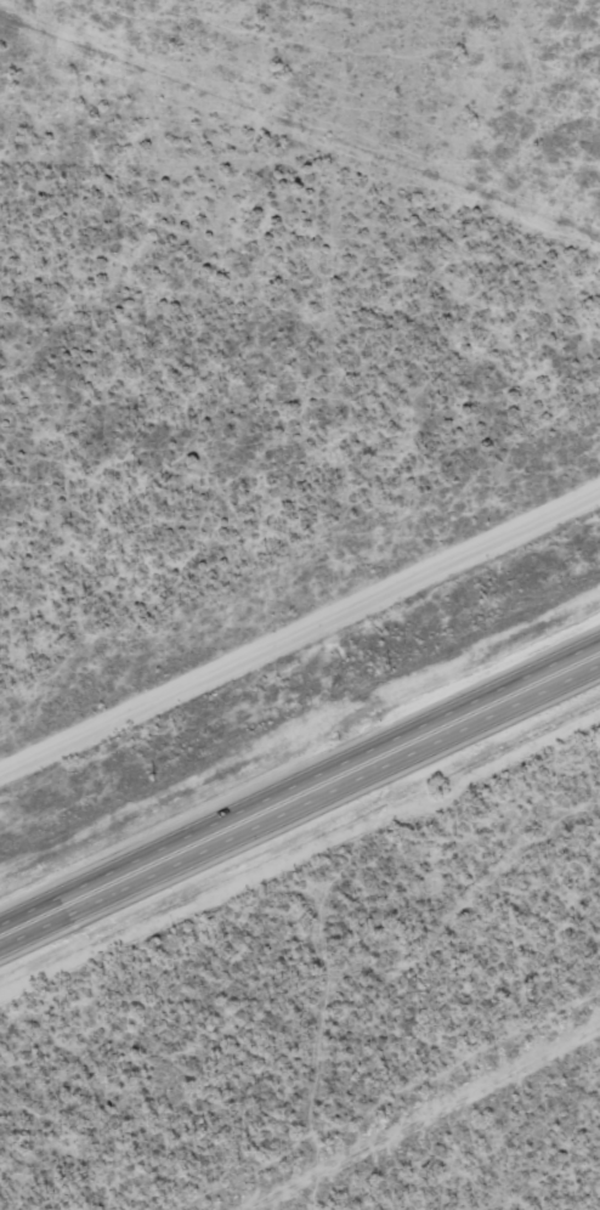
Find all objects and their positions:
power tower: (390, 671)
power tower: (153, 782)
road: (300, 795)

